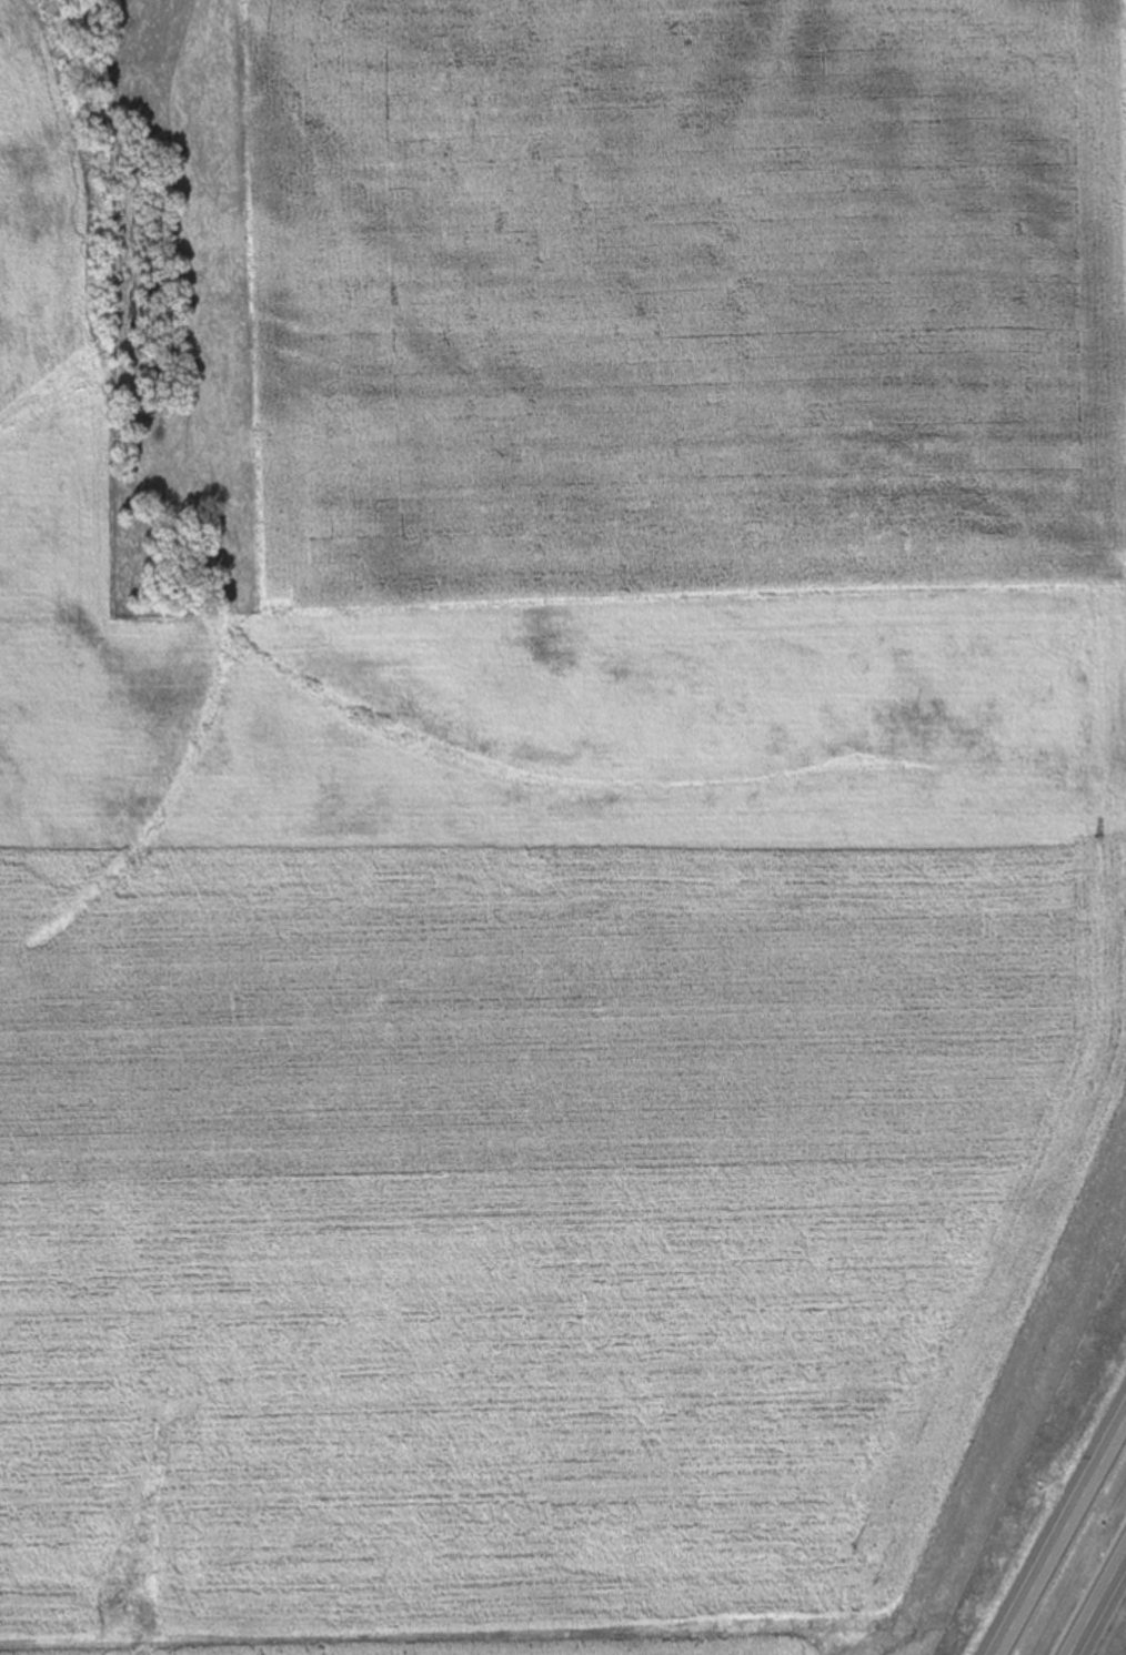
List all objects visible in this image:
road: (1059, 1534)
road: (1103, 1613)

